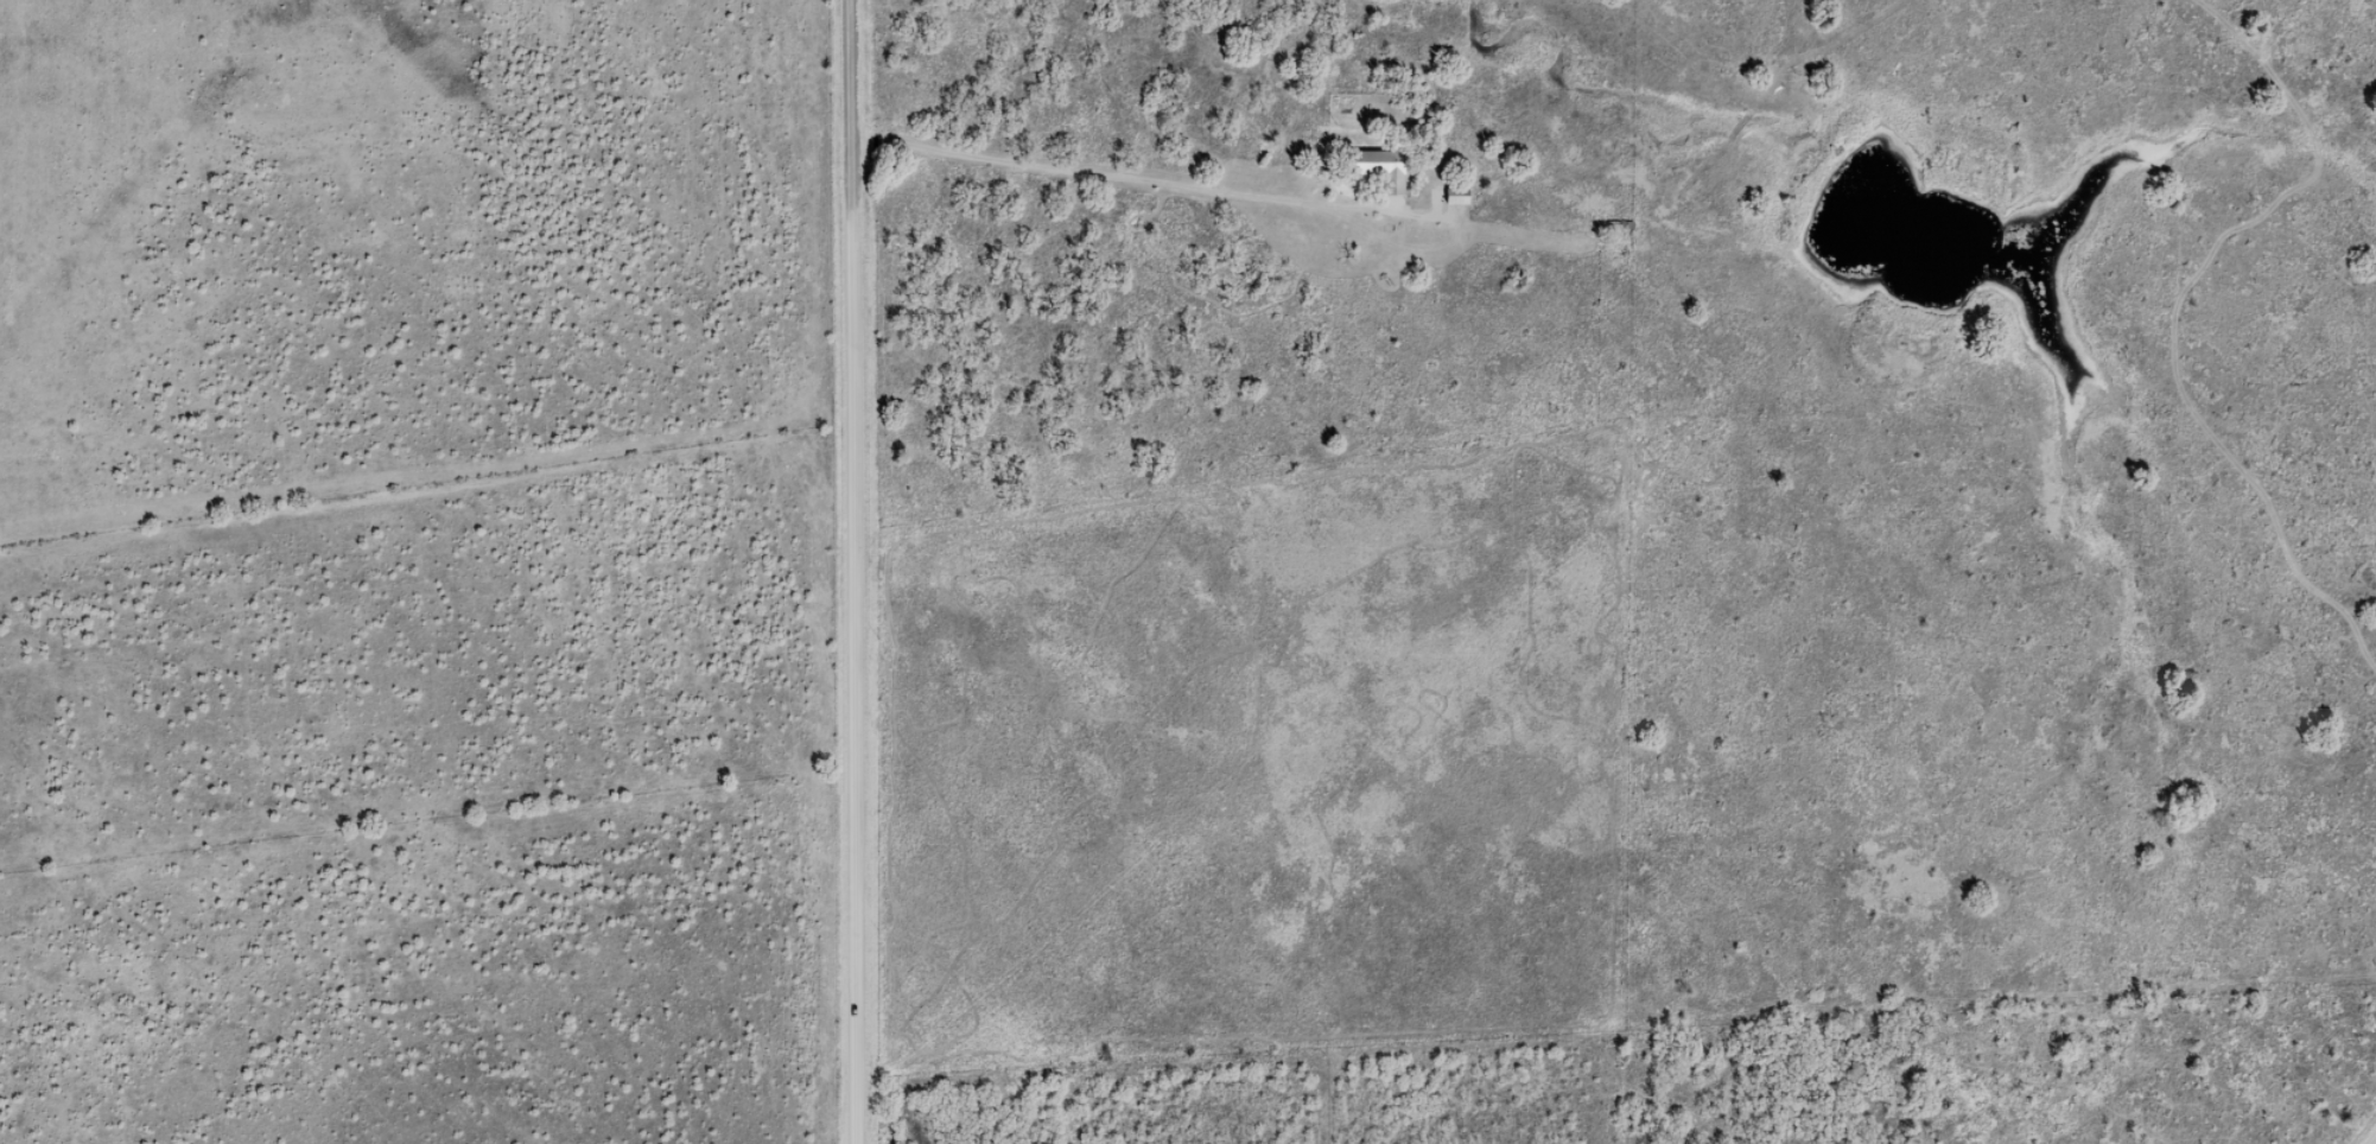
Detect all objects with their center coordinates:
road: (1101, 173)
building: (1378, 179)
road: (877, 572)

